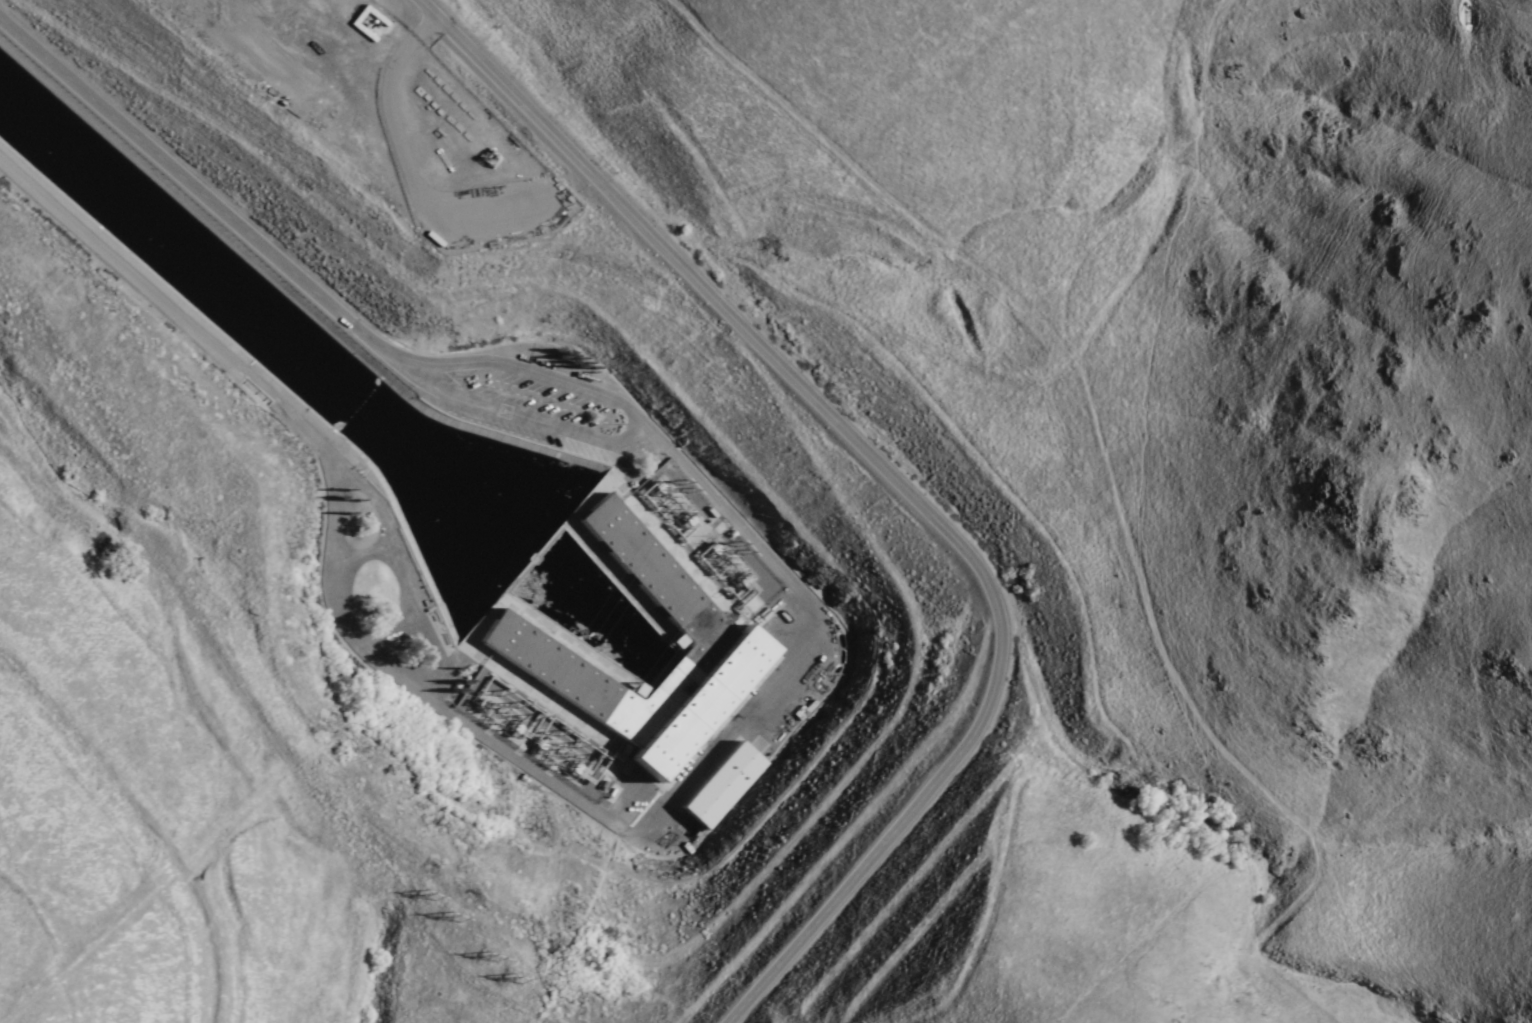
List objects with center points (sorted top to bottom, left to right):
road: (151, 288)
road: (510, 366)
road: (896, 480)
building: (727, 638)
road: (422, 693)
power tower: (513, 700)
power tower: (532, 712)
power tower: (571, 739)
power tower: (591, 750)
building: (728, 787)
power tower: (433, 898)
power tower: (458, 920)
power tower: (493, 959)
power tower: (520, 982)

